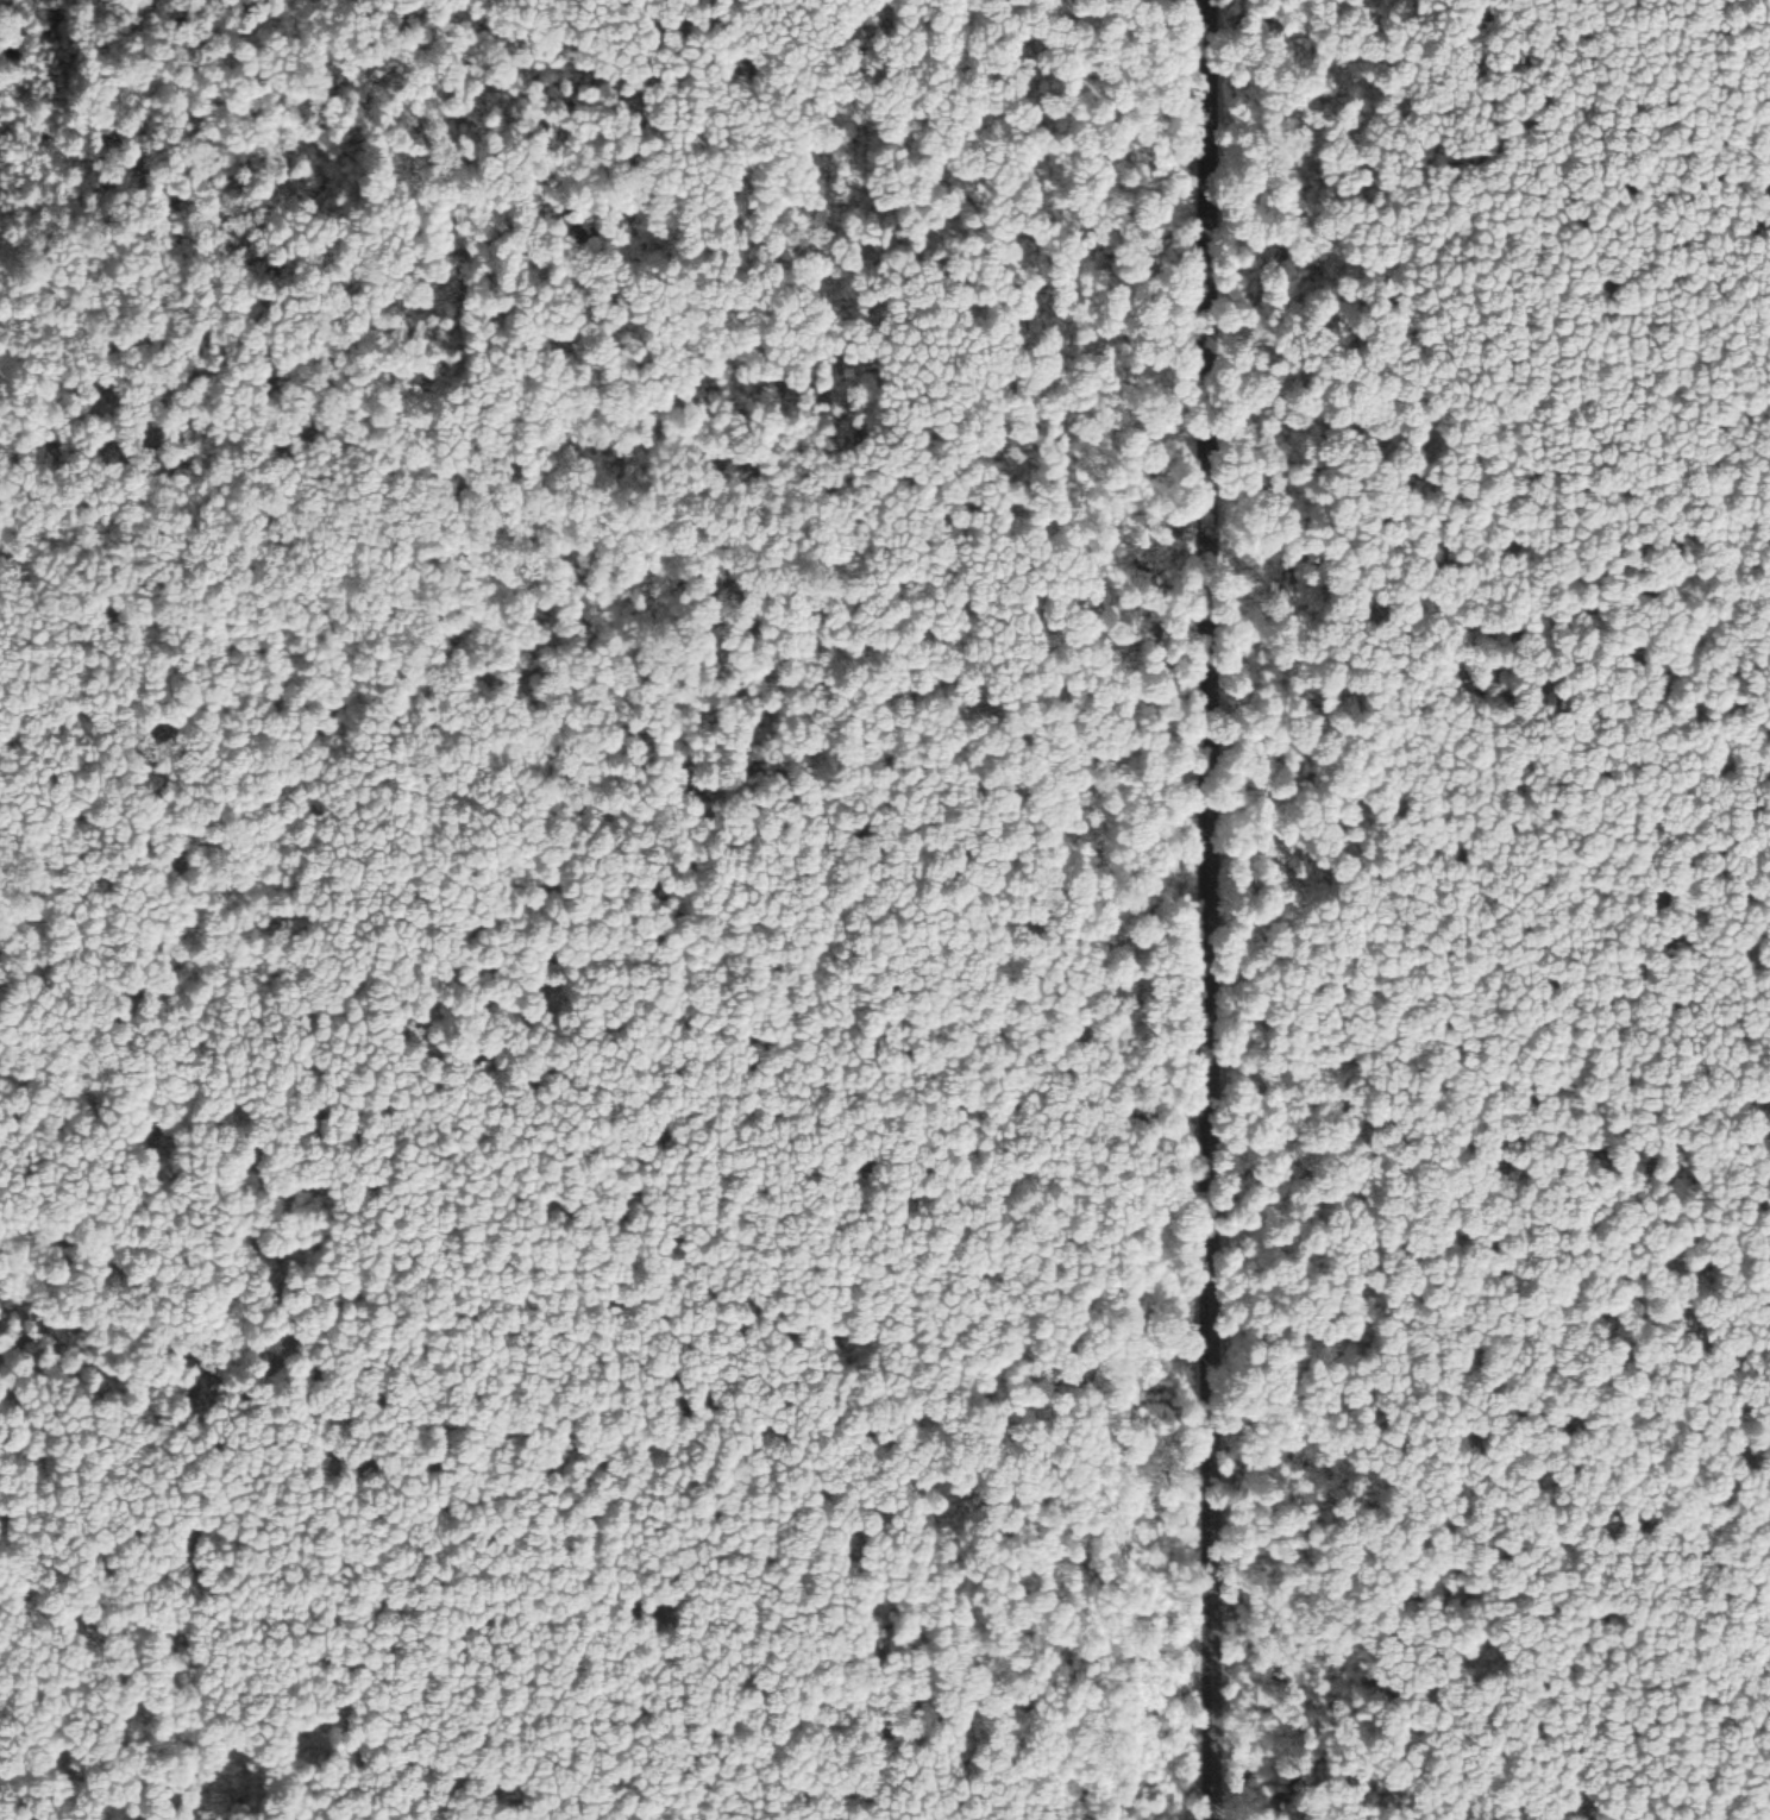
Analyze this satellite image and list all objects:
road: (605, 192)
road: (1212, 910)
road: (600, 1353)

